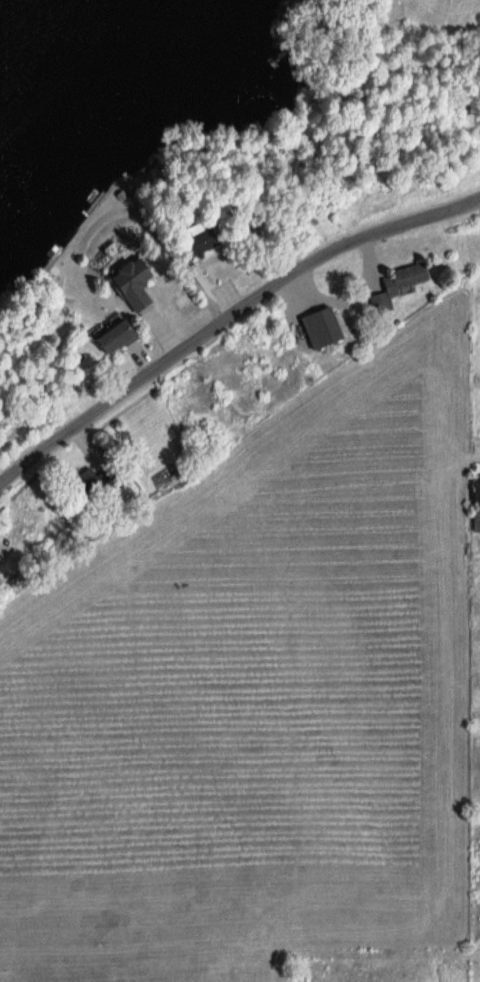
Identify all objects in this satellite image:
building: (195, 242)
building: (125, 283)
building: (393, 286)
road: (226, 319)
building: (106, 337)
building: (88, 486)
building: (475, 505)

